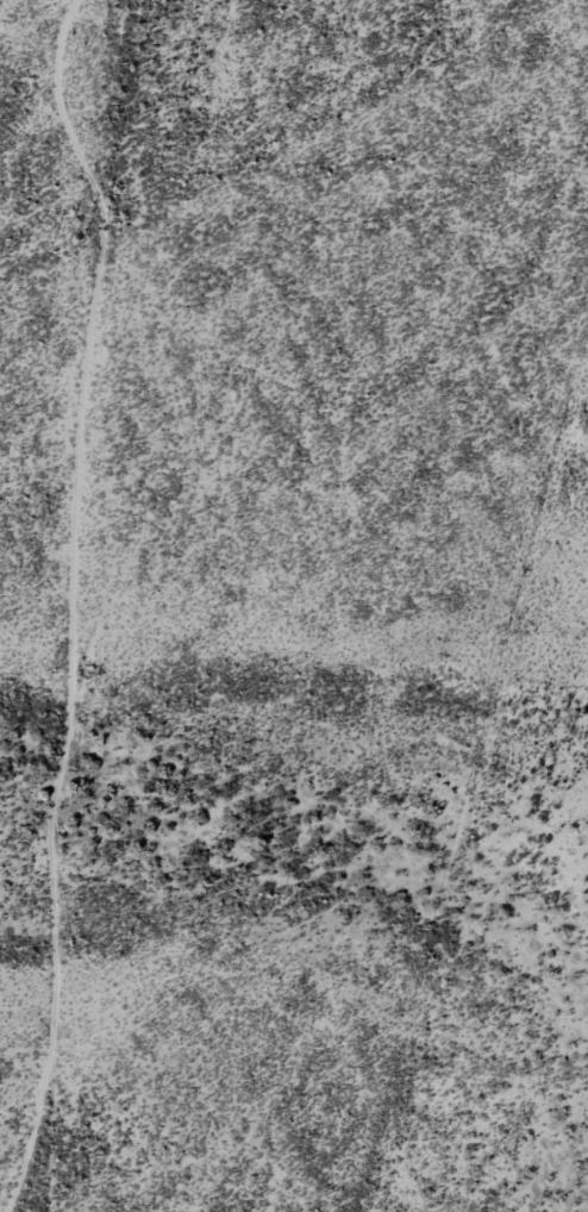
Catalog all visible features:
road: (44, 600)

